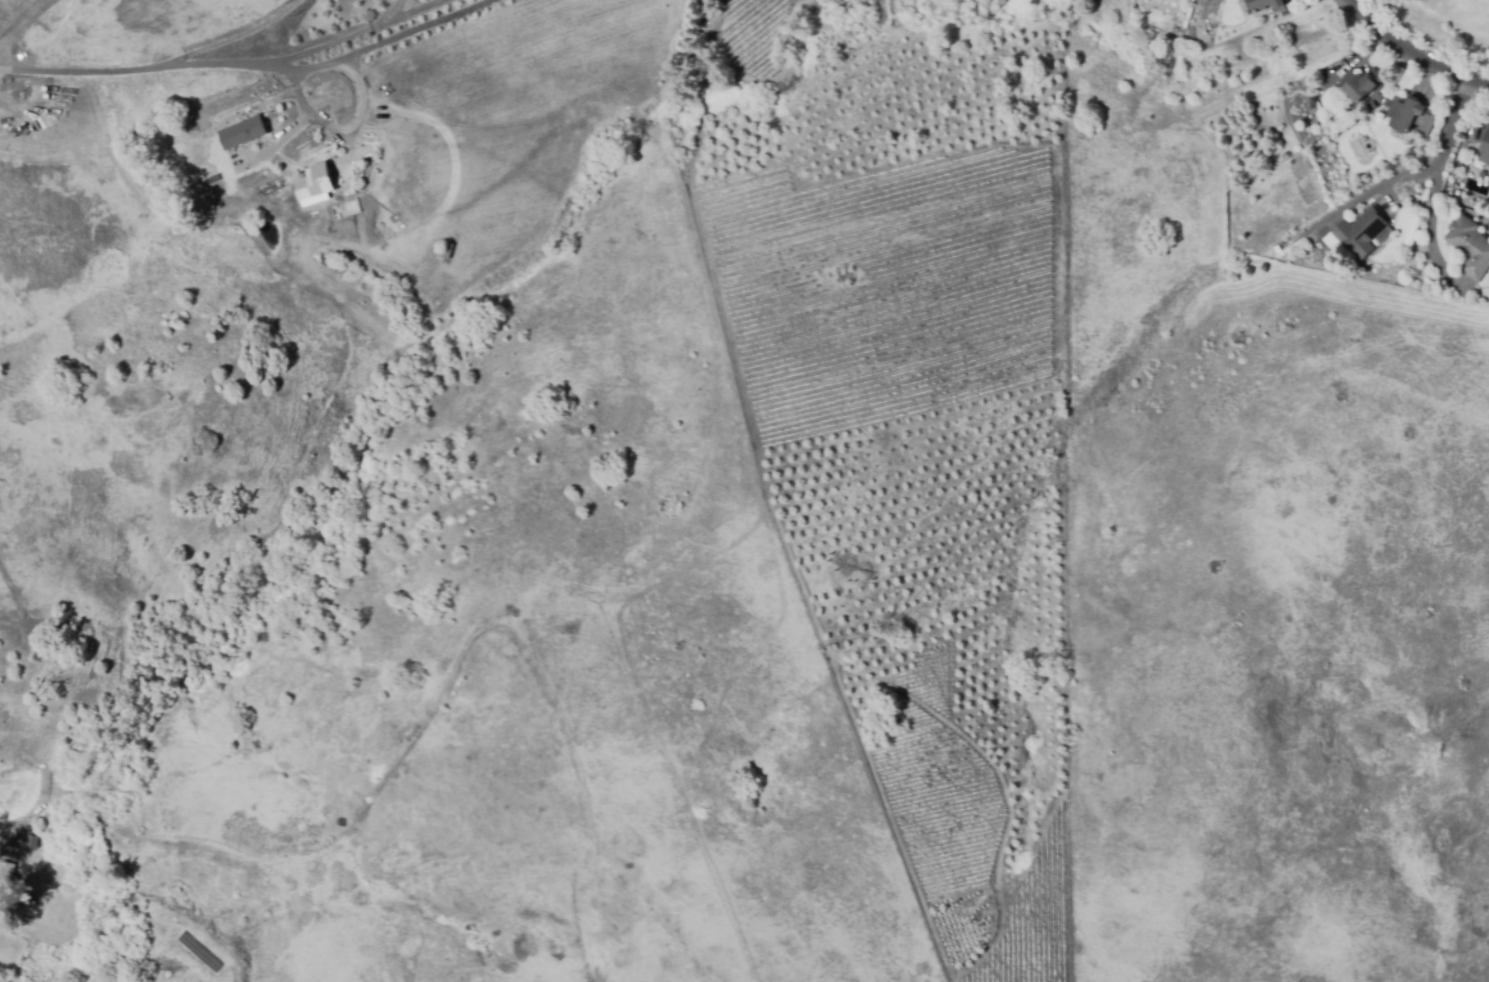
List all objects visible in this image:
building: (1266, 4)
road: (399, 6)
road: (410, 6)
park: (1442, 26)
road: (23, 27)
road: (331, 38)
road: (1412, 55)
road: (251, 64)
building: (1361, 83)
road: (283, 97)
building: (1386, 102)
building: (1369, 108)
road: (1457, 110)
building: (1411, 115)
road: (299, 123)
building: (242, 133)
road: (328, 133)
building: (1406, 139)
building: (1485, 147)
building: (213, 176)
building: (315, 184)
road: (1430, 215)
building: (1361, 232)
building: (452, 240)
building: (1470, 247)
building: (39, 823)
building: (32, 841)
building: (6, 880)

